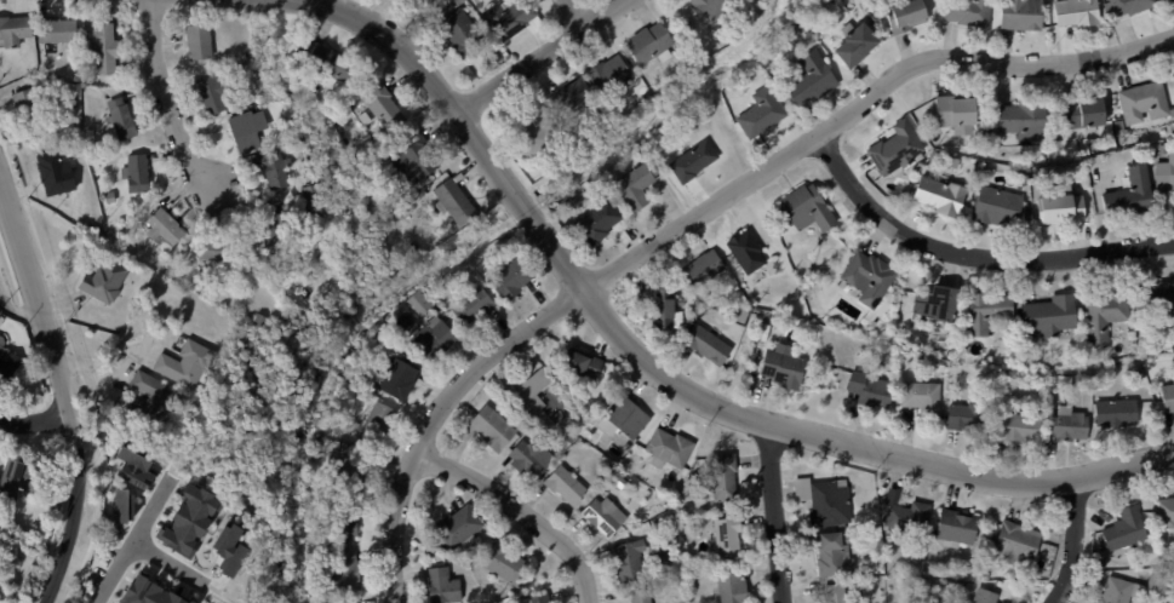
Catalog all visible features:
building: (458, 1)
building: (1169, 1)
building: (423, 2)
building: (1128, 6)
building: (440, 7)
building: (708, 7)
building: (967, 12)
building: (1076, 12)
building: (1020, 15)
road: (569, 16)
building: (905, 16)
building: (508, 18)
building: (53, 28)
building: (13, 29)
building: (688, 29)
building: (459, 33)
building: (196, 41)
building: (649, 45)
building: (855, 45)
building: (101, 46)
road: (539, 57)
building: (325, 63)
building: (607, 75)
building: (90, 79)
building: (811, 80)
building: (212, 93)
building: (567, 94)
building: (647, 94)
road: (167, 102)
building: (1142, 103)
building: (71, 104)
road: (858, 104)
building: (382, 105)
building: (29, 107)
building: (760, 113)
building: (956, 114)
building: (1083, 114)
building: (119, 117)
building: (1023, 120)
building: (245, 127)
building: (1121, 128)
building: (88, 133)
building: (534, 133)
building: (1058, 133)
building: (290, 137)
building: (986, 140)
building: (897, 150)
building: (1162, 150)
building: (1096, 151)
building: (937, 154)
building: (412, 159)
building: (692, 161)
building: (273, 167)
building: (53, 172)
building: (133, 172)
building: (1033, 174)
building: (1166, 174)
building: (1021, 177)
building: (635, 185)
building: (1130, 194)
building: (108, 196)
building: (939, 197)
building: (452, 200)
building: (995, 205)
building: (1058, 206)
building: (315, 208)
building: (806, 209)
building: (596, 222)
building: (161, 228)
building: (269, 229)
building: (216, 249)
building: (745, 252)
road: (972, 254)
building: (703, 268)
building: (510, 277)
building: (867, 277)
building: (102, 280)
building: (735, 289)
building: (1156, 295)
building: (418, 301)
building: (471, 304)
building: (755, 304)
road: (17, 305)
building: (935, 306)
building: (664, 310)
building: (985, 312)
building: (1104, 314)
building: (1049, 316)
building: (1, 320)
building: (257, 320)
building: (1132, 327)
building: (1130, 335)
building: (431, 337)
building: (0, 340)
building: (708, 344)
building: (578, 362)
building: (6, 363)
building: (183, 363)
building: (939, 368)
building: (781, 369)
road: (663, 377)
building: (396, 379)
road: (108, 380)
building: (1060, 381)
building: (869, 390)
building: (529, 391)
road: (61, 396)
building: (150, 398)
building: (921, 398)
building: (1168, 398)
building: (1115, 414)
building: (624, 417)
road: (34, 418)
building: (964, 418)
building: (374, 420)
road: (437, 420)
building: (1067, 425)
building: (491, 427)
building: (1016, 430)
building: (668, 448)
building: (528, 456)
building: (133, 465)
building: (343, 469)
building: (722, 476)
building: (19, 478)
building: (625, 479)
building: (657, 482)
building: (565, 484)
building: (825, 499)
building: (121, 505)
building: (1164, 512)
road: (521, 513)
road: (775, 513)
building: (602, 515)
building: (907, 517)
building: (188, 519)
building: (340, 521)
building: (457, 527)
building: (955, 528)
building: (1124, 528)
building: (726, 535)
road: (132, 539)
building: (1016, 541)
road: (1071, 541)
building: (228, 547)
building: (835, 552)
building: (664, 557)
building: (631, 559)
road: (168, 564)
building: (503, 564)
building: (901, 567)
building: (343, 570)
building: (972, 574)
building: (441, 585)
building: (961, 586)
building: (731, 587)
building: (1134, 587)
building: (147, 592)
building: (836, 592)
building: (640, 596)
building: (990, 596)
building: (534, 598)
building: (348, 601)

